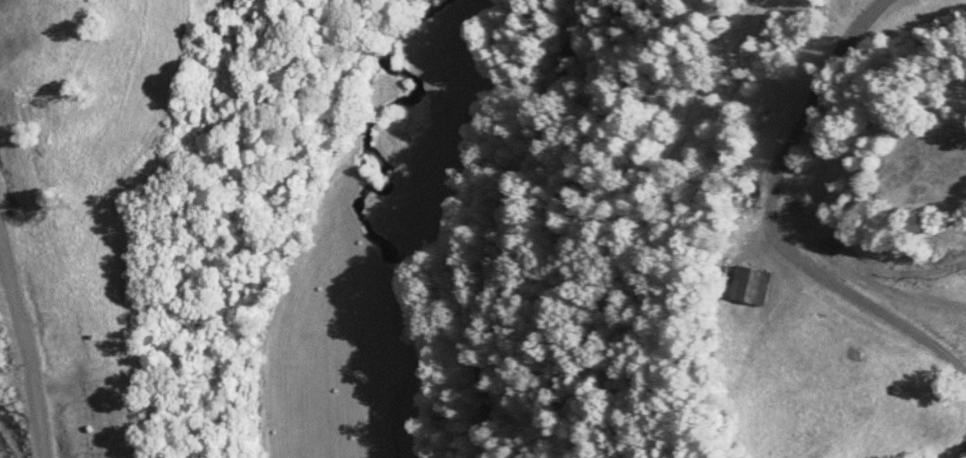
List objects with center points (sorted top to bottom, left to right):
road: (505, 222)
building: (752, 285)
park: (109, 418)

